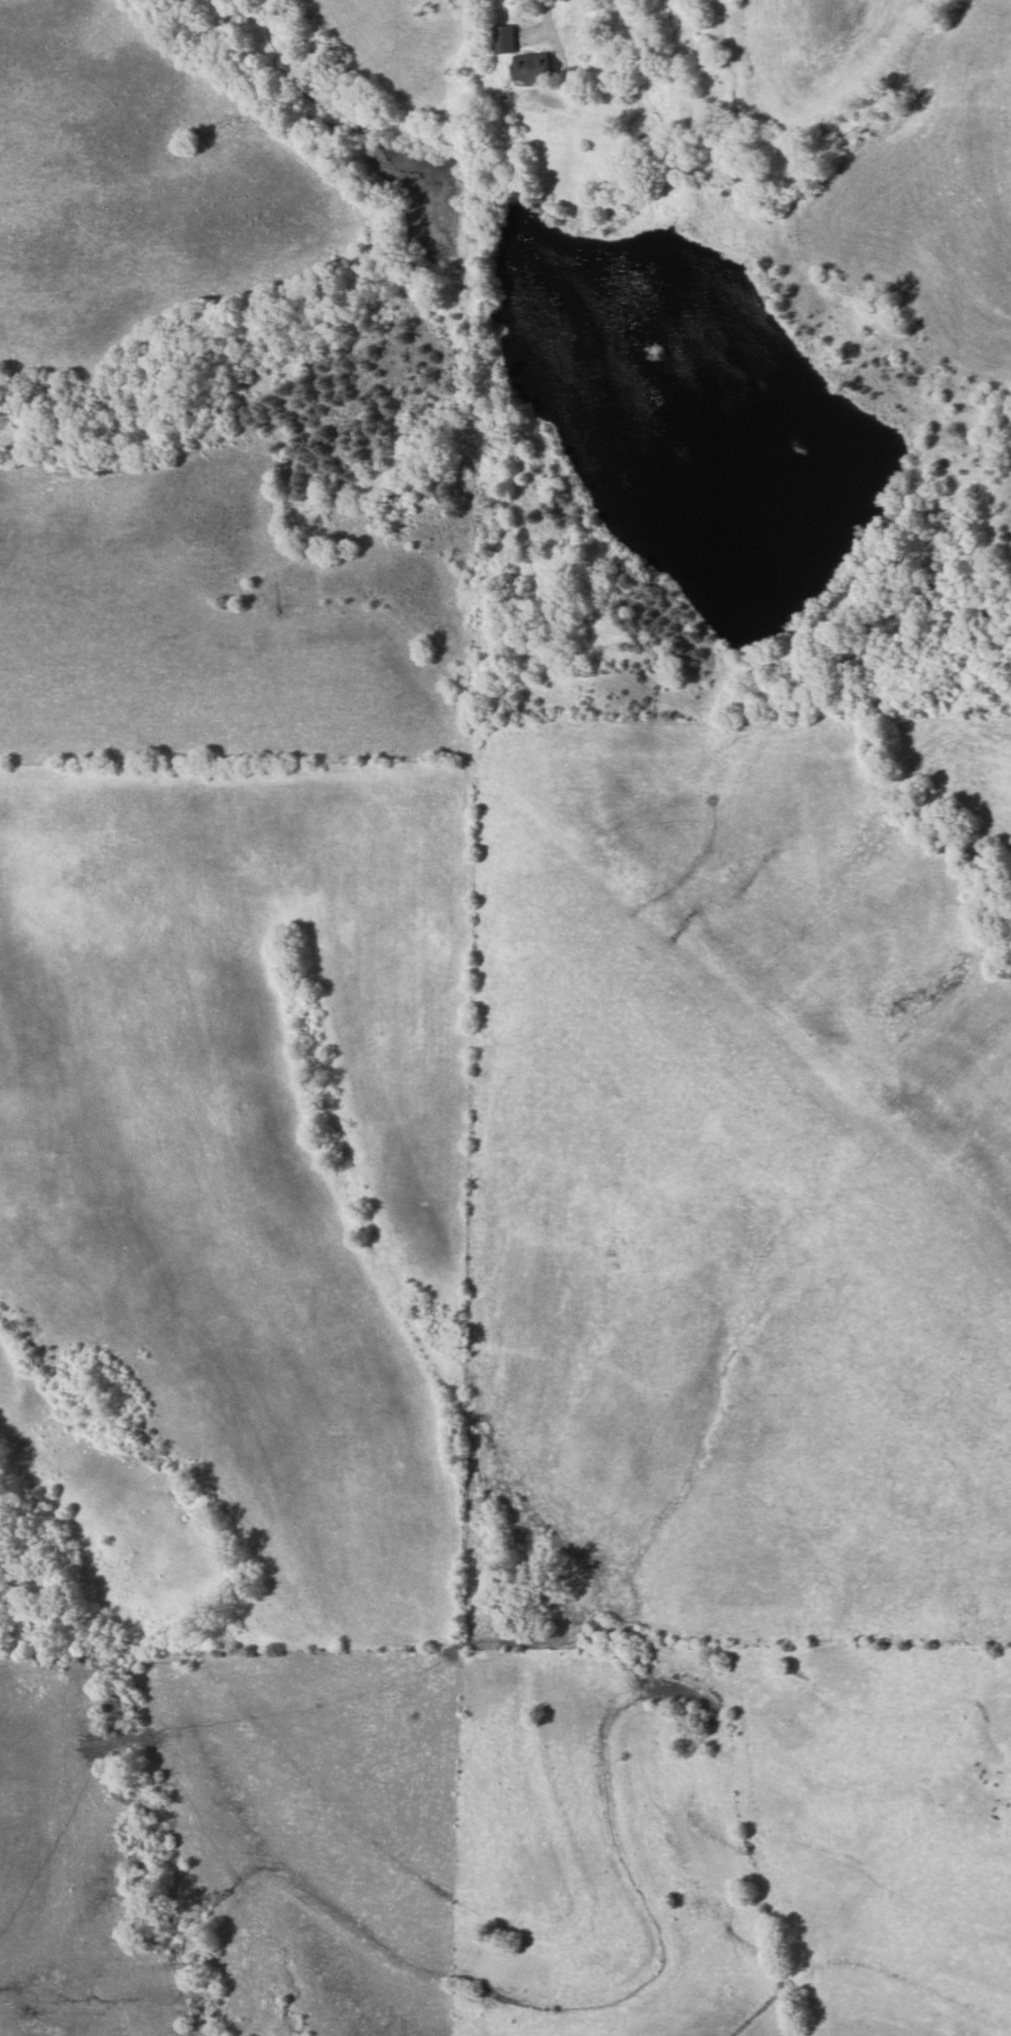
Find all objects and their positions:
road: (548, 11)
building: (499, 39)
building: (527, 68)

